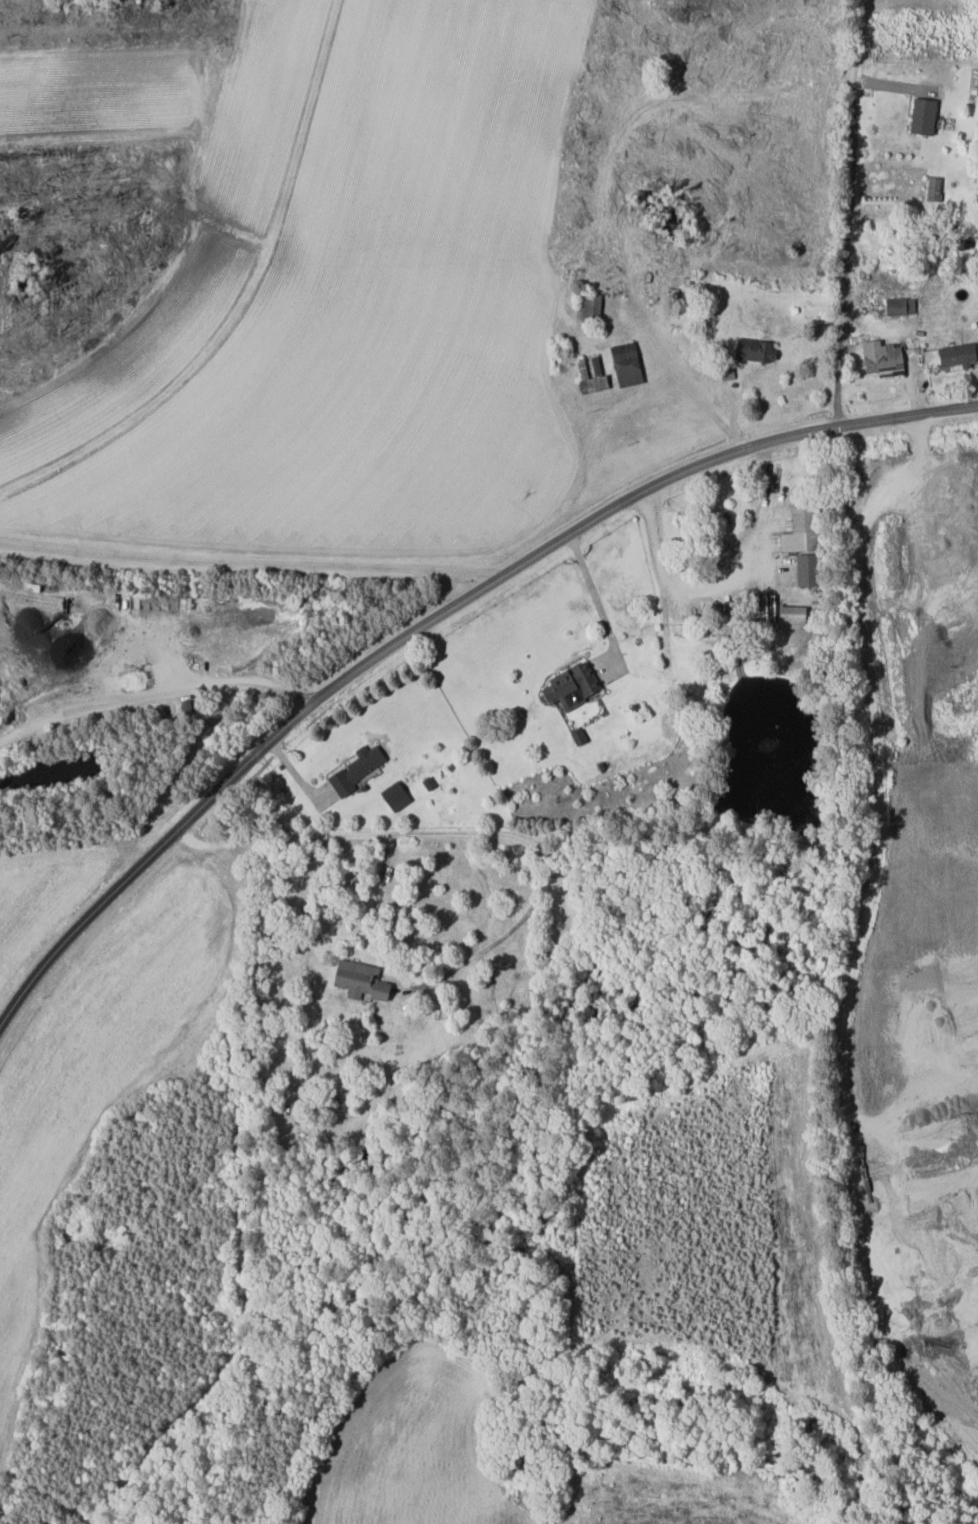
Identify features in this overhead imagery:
building: (922, 115)
building: (933, 188)
road: (851, 213)
building: (588, 306)
building: (898, 306)
building: (754, 349)
building: (956, 354)
building: (881, 356)
building: (625, 364)
building: (589, 373)
building: (727, 374)
road: (727, 454)
building: (800, 530)
road: (249, 563)
building: (806, 570)
road: (686, 583)
road: (594, 592)
building: (791, 617)
building: (569, 686)
road: (184, 689)
building: (356, 770)
road: (230, 780)
building: (394, 796)
road: (441, 825)
road: (349, 916)
building: (358, 980)

